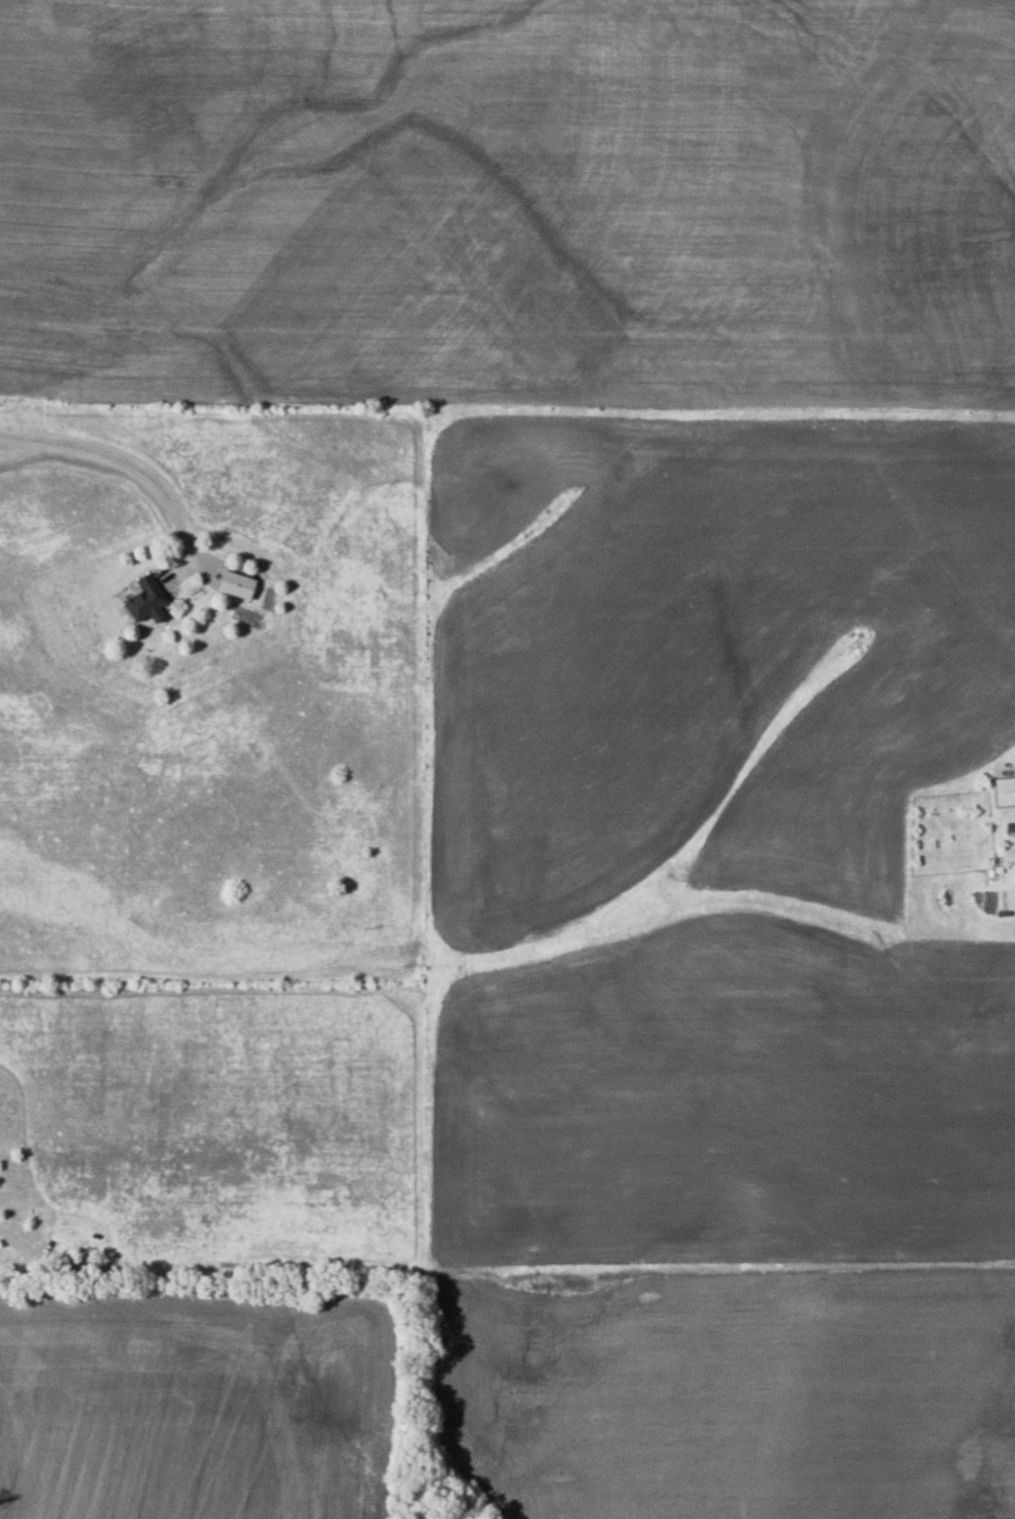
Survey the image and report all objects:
road: (115, 462)
building: (235, 584)
building: (144, 597)
building: (1004, 790)
road: (30, 1249)

